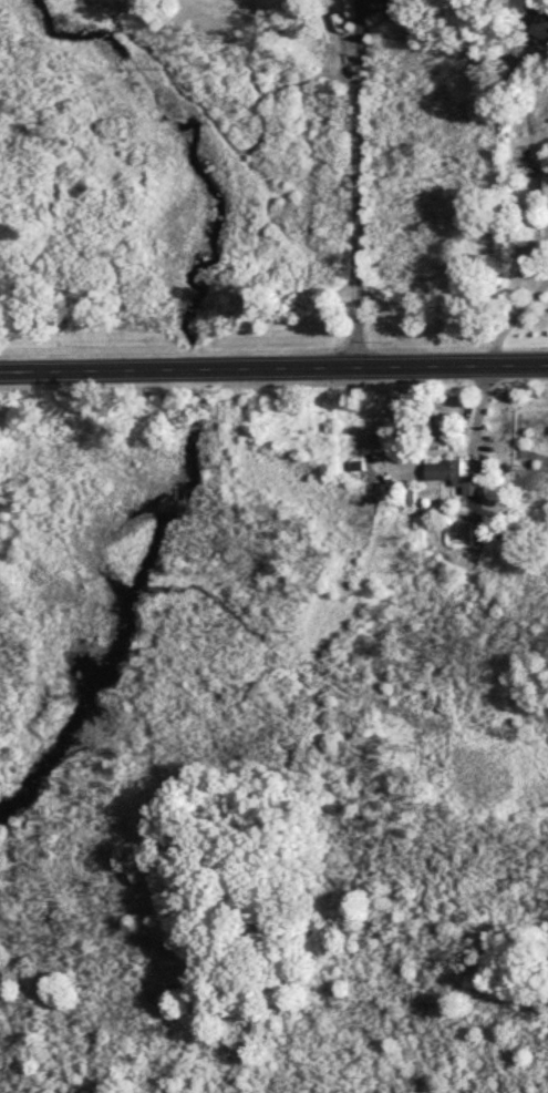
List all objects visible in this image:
building: (539, 23)
road: (359, 183)
building: (546, 183)
road: (273, 366)
building: (454, 474)

